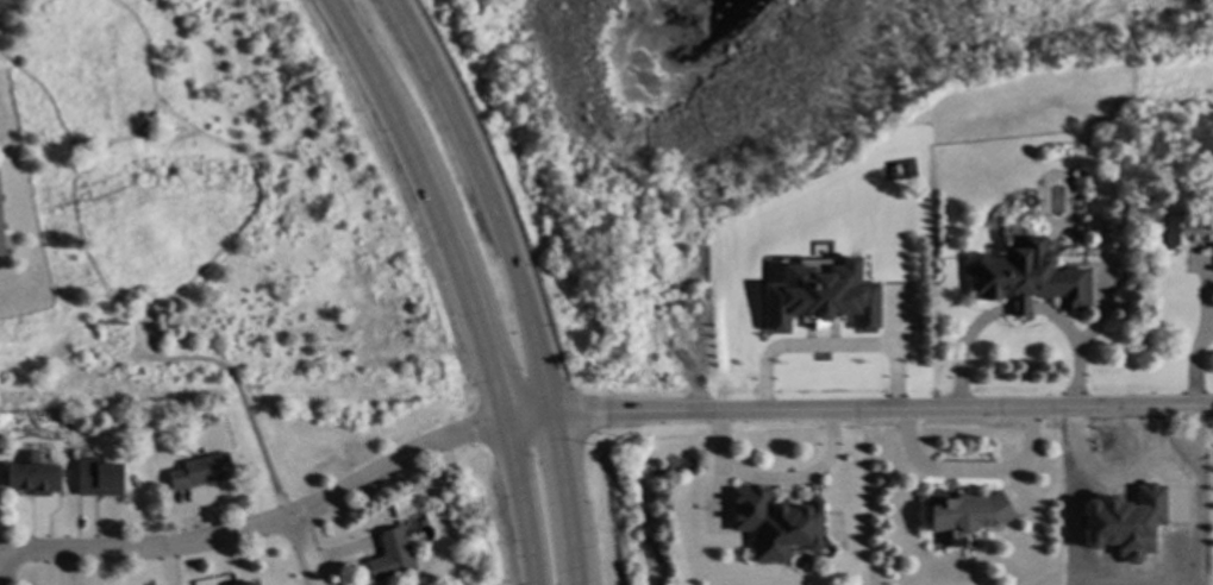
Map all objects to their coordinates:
building: (1080, 184)
building: (2, 226)
building: (1187, 231)
building: (1027, 277)
road: (459, 279)
road: (514, 281)
building: (818, 297)
road: (1019, 310)
building: (144, 328)
road: (1198, 342)
road: (799, 350)
road: (1076, 351)
road: (961, 352)
road: (894, 353)
road: (879, 416)
park: (323, 436)
building: (202, 471)
road: (969, 472)
building: (101, 477)
building: (33, 478)
road: (774, 479)
building: (965, 511)
road: (281, 516)
building: (774, 522)
building: (1121, 522)
road: (294, 549)
building: (393, 554)
building: (252, 583)

